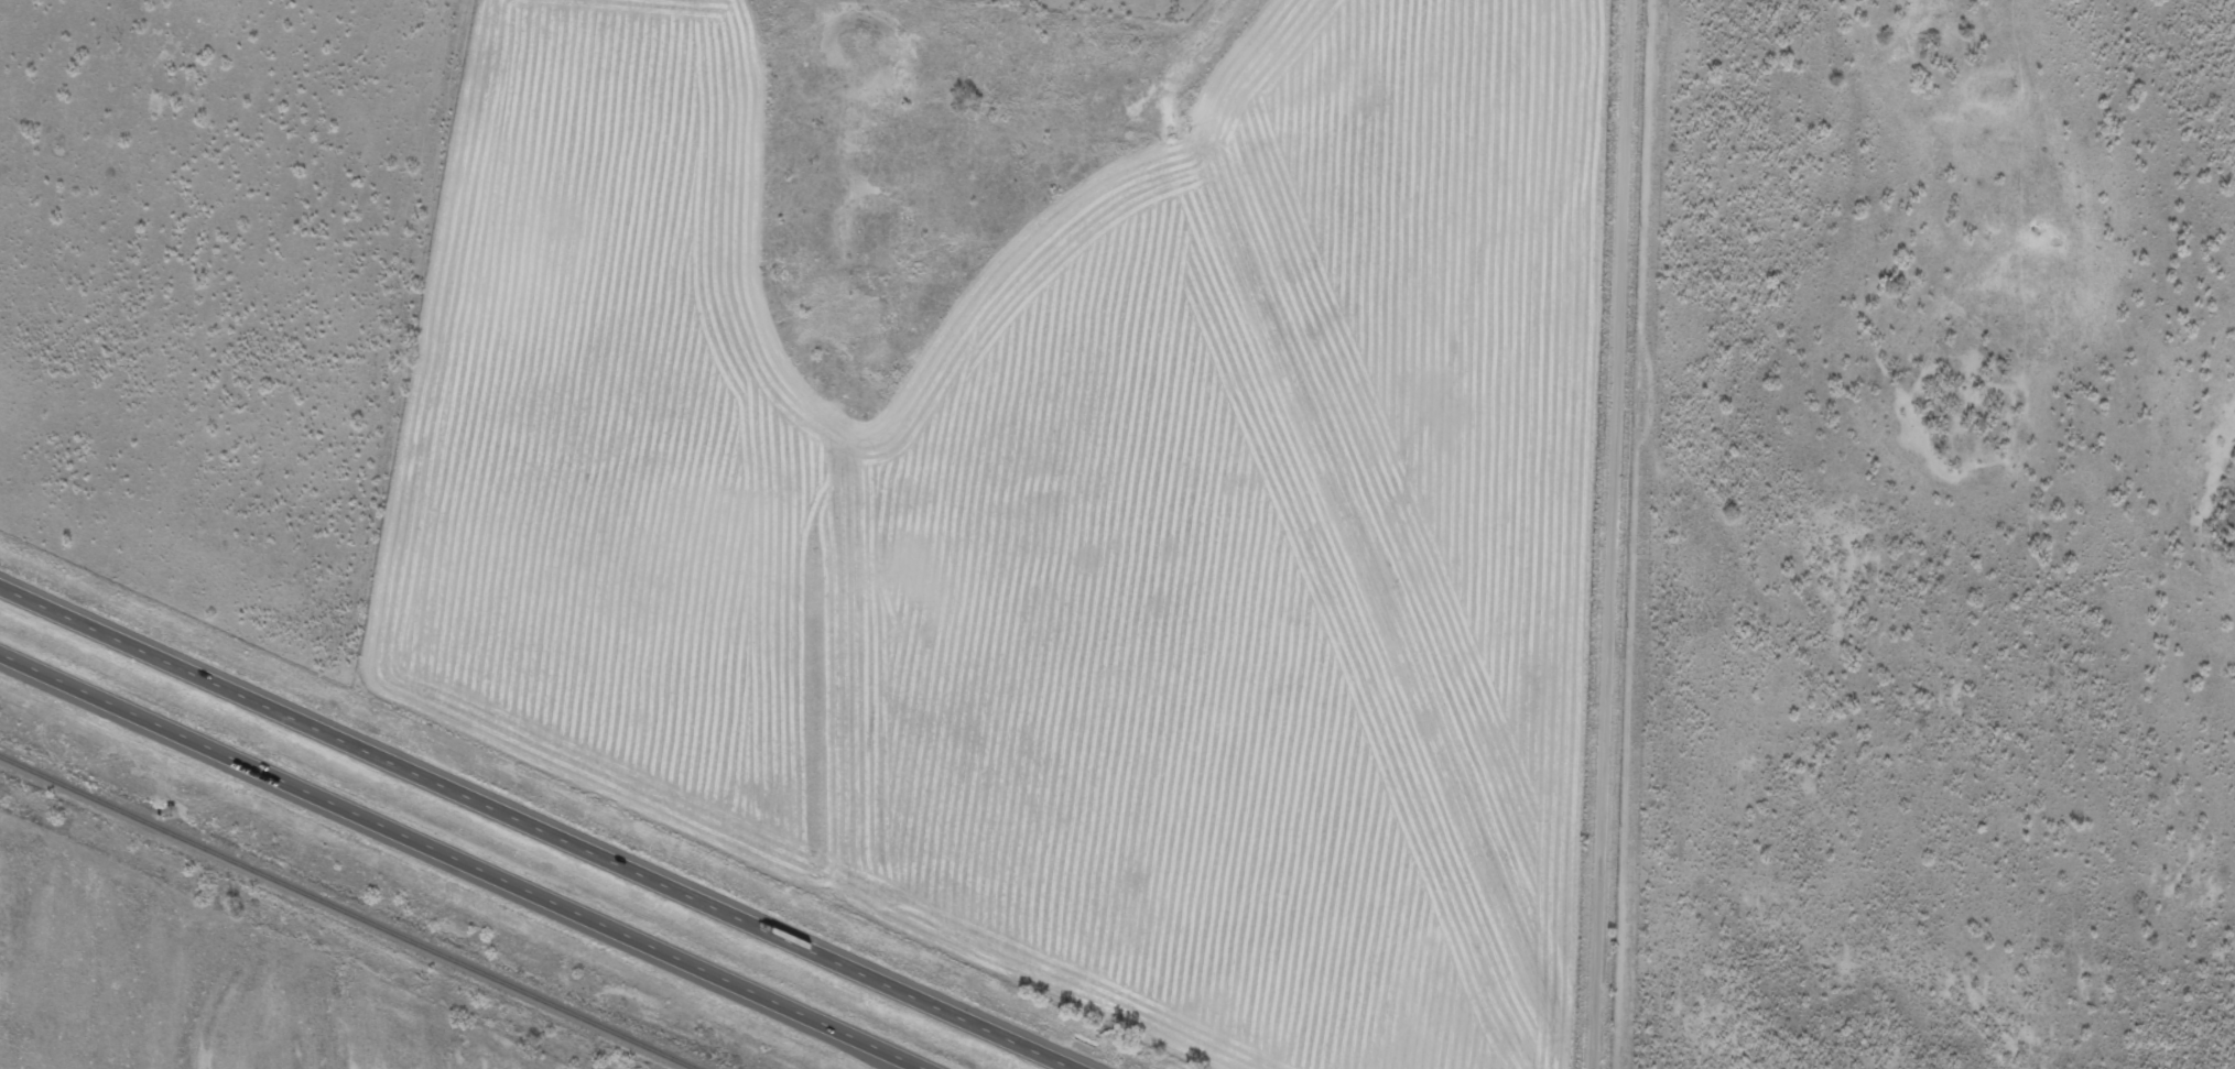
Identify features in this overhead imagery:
road: (1612, 534)
road: (541, 825)
road: (453, 864)
railway: (346, 913)

